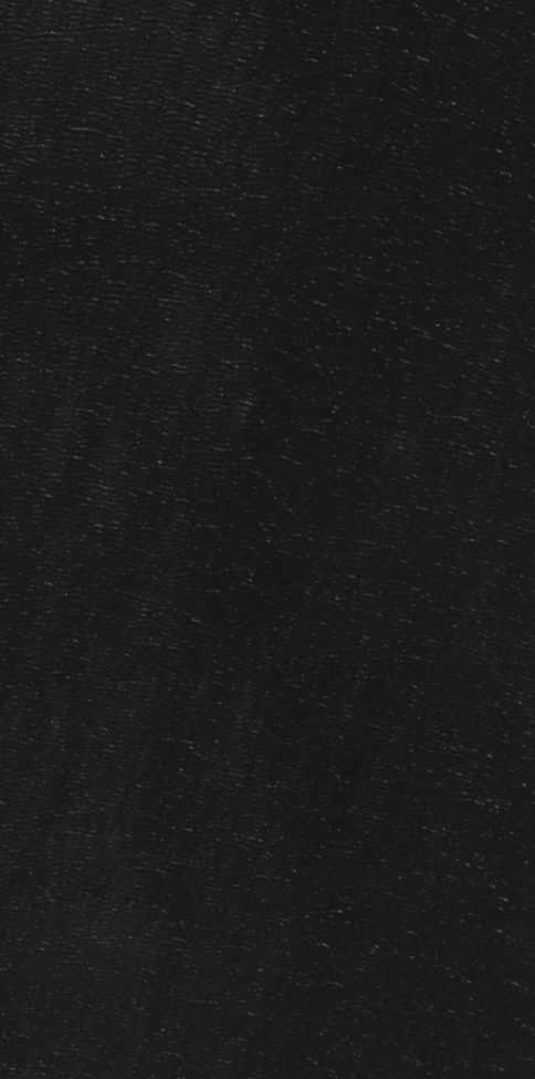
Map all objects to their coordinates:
park: (267, 539)

